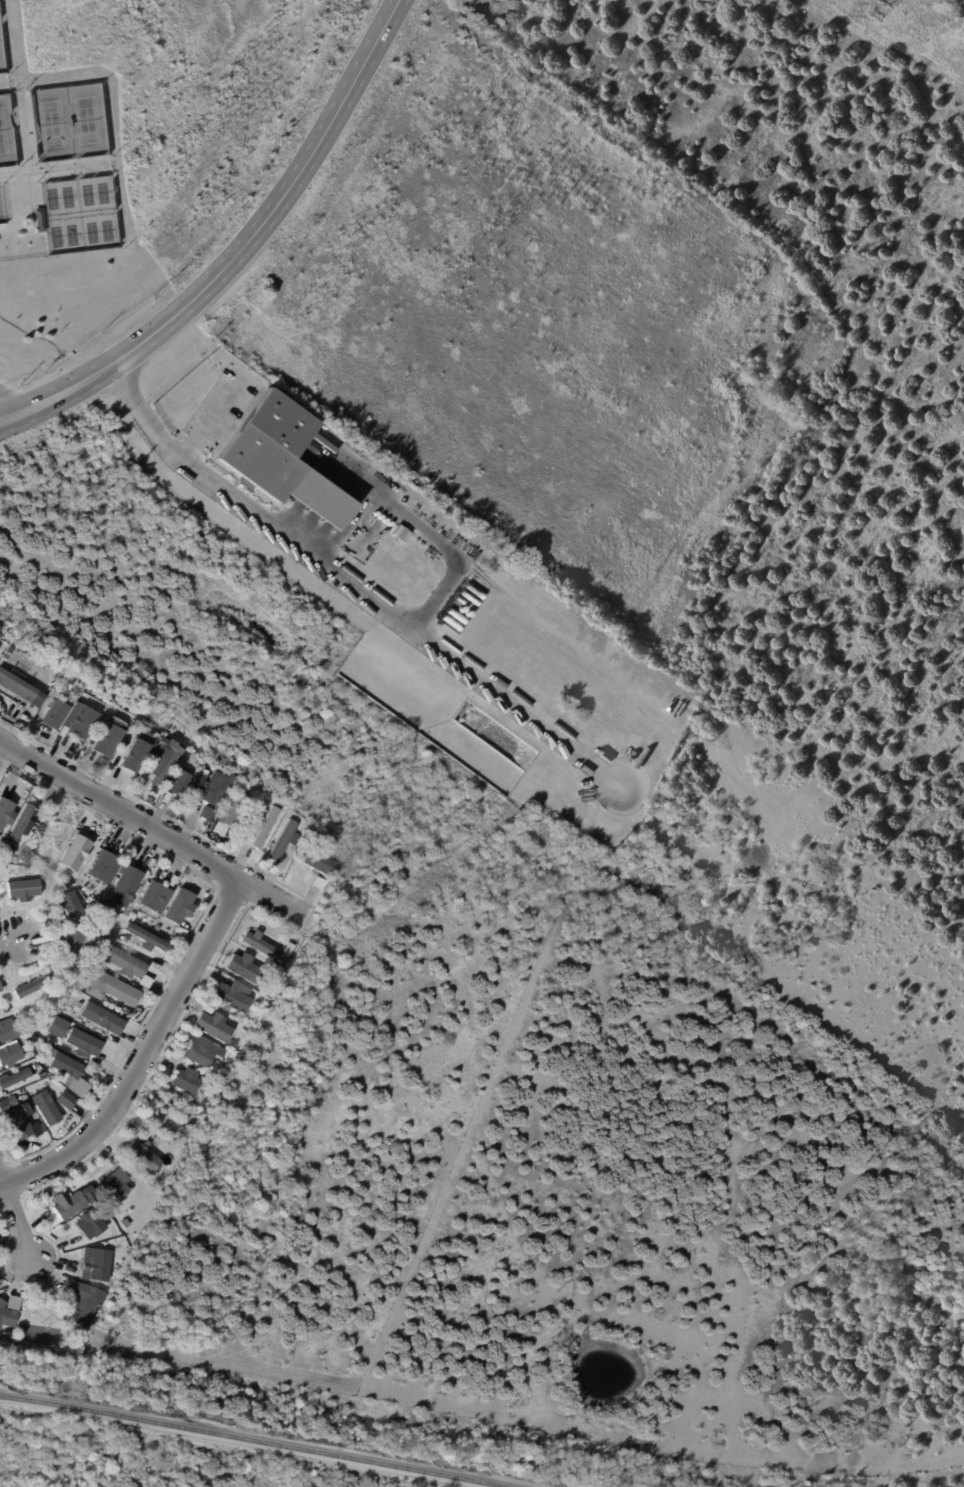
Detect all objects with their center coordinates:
power tower: (878, 10)
park: (1, 55)
park: (68, 118)
park: (86, 120)
park: (50, 124)
park: (5, 130)
park: (2, 134)
road: (75, 164)
road: (38, 173)
park: (102, 193)
park: (86, 194)
park: (66, 196)
park: (51, 199)
park: (3, 205)
park: (79, 211)
building: (41, 220)
park: (106, 230)
park: (91, 232)
park: (71, 234)
park: (56, 236)
road: (239, 250)
road: (13, 402)
parking lot: (225, 407)
road: (223, 409)
road: (192, 452)
building: (284, 456)
road: (348, 528)
building: (396, 528)
road: (418, 528)
road: (354, 587)
building: (16, 685)
building: (82, 697)
building: (109, 709)
building: (54, 716)
building: (80, 723)
building: (107, 740)
building: (169, 745)
building: (134, 757)
building: (96, 765)
building: (159, 767)
building: (201, 780)
building: (177, 783)
building: (212, 793)
building: (8, 794)
building: (163, 798)
building: (4, 809)
building: (205, 813)
building: (229, 816)
building: (16, 824)
building: (261, 830)
road: (155, 832)
building: (88, 836)
building: (284, 841)
building: (5, 848)
building: (70, 855)
building: (315, 862)
building: (98, 866)
building: (168, 882)
building: (317, 884)
building: (19, 888)
building: (122, 888)
building: (150, 897)
building: (64, 905)
building: (177, 908)
building: (51, 920)
building: (177, 932)
building: (52, 935)
road: (9, 938)
building: (141, 938)
building: (123, 940)
building: (69, 942)
building: (261, 945)
building: (289, 947)
building: (290, 957)
building: (122, 964)
building: (244, 969)
building: (141, 983)
building: (30, 985)
building: (108, 987)
building: (233, 995)
building: (77, 1006)
building: (3, 1010)
building: (100, 1019)
building: (214, 1026)
building: (3, 1034)
building: (19, 1041)
building: (80, 1044)
building: (8, 1054)
building: (199, 1054)
road: (139, 1055)
building: (235, 1060)
building: (31, 1067)
building: (63, 1067)
building: (12, 1078)
building: (186, 1081)
building: (78, 1087)
building: (63, 1102)
building: (164, 1105)
building: (2, 1106)
building: (44, 1109)
building: (17, 1124)
building: (148, 1153)
building: (169, 1176)
building: (115, 1182)
building: (164, 1189)
building: (70, 1203)
road: (19, 1218)
building: (93, 1222)
building: (97, 1264)
building: (74, 1290)
building: (101, 1294)
building: (80, 1311)
building: (6, 1315)
building: (6, 1337)
railway: (256, 1439)

